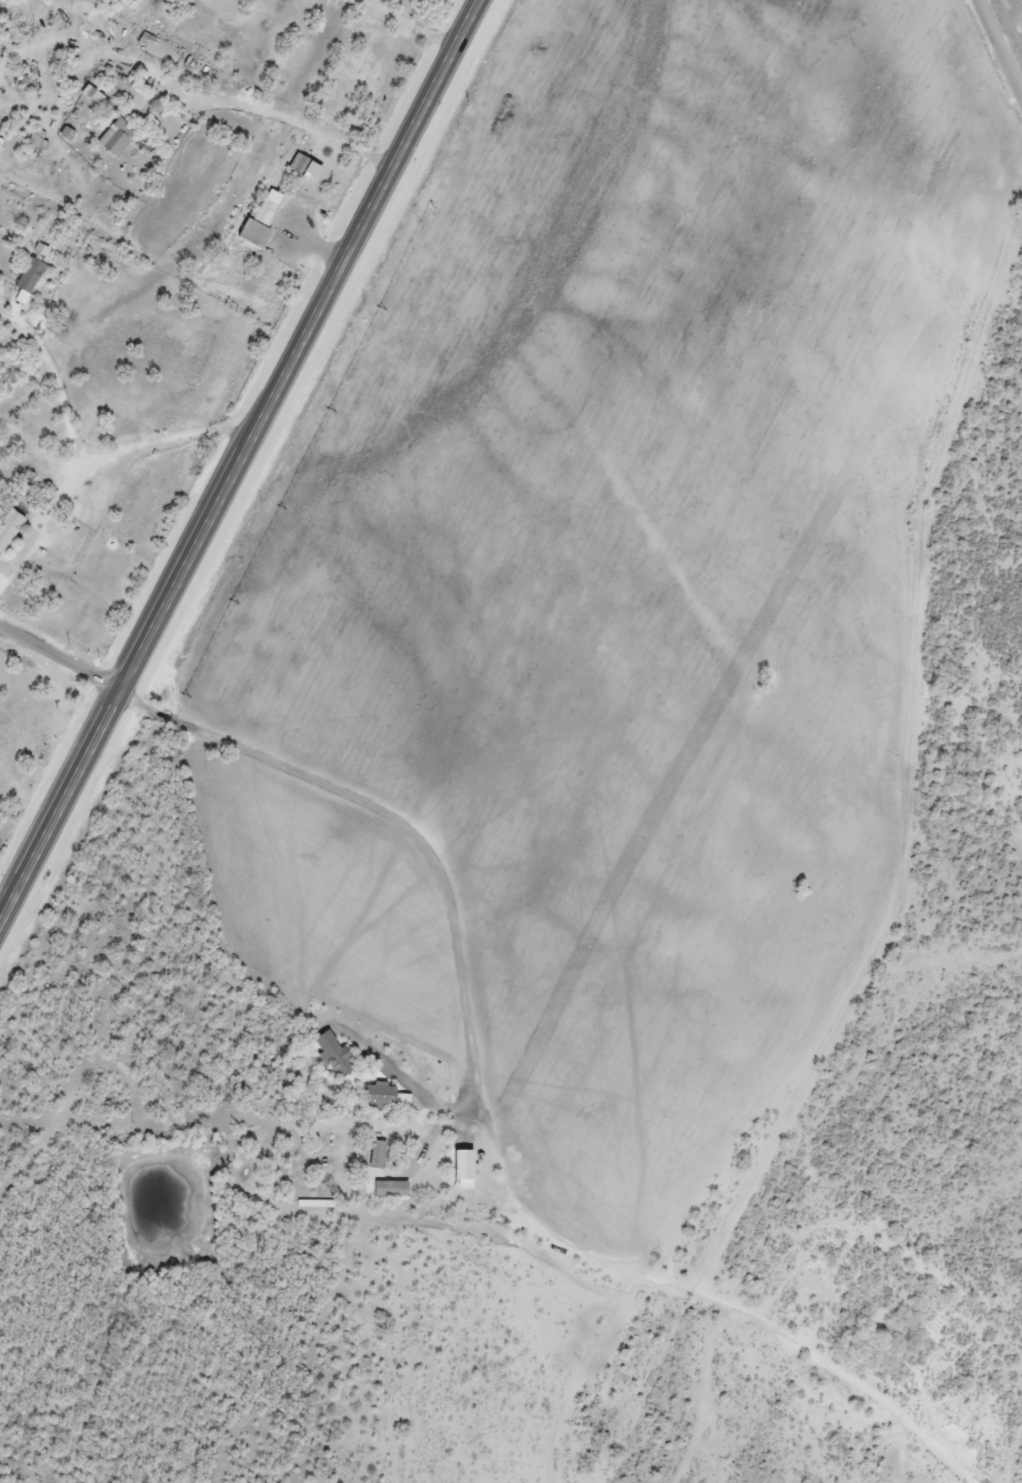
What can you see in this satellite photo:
road: (1002, 43)
building: (65, 135)
building: (115, 139)
building: (0, 142)
building: (303, 169)
building: (260, 219)
building: (0, 242)
building: (28, 277)
road: (239, 461)
building: (8, 529)
road: (59, 660)
road: (421, 1013)
building: (376, 1156)
building: (390, 1190)

